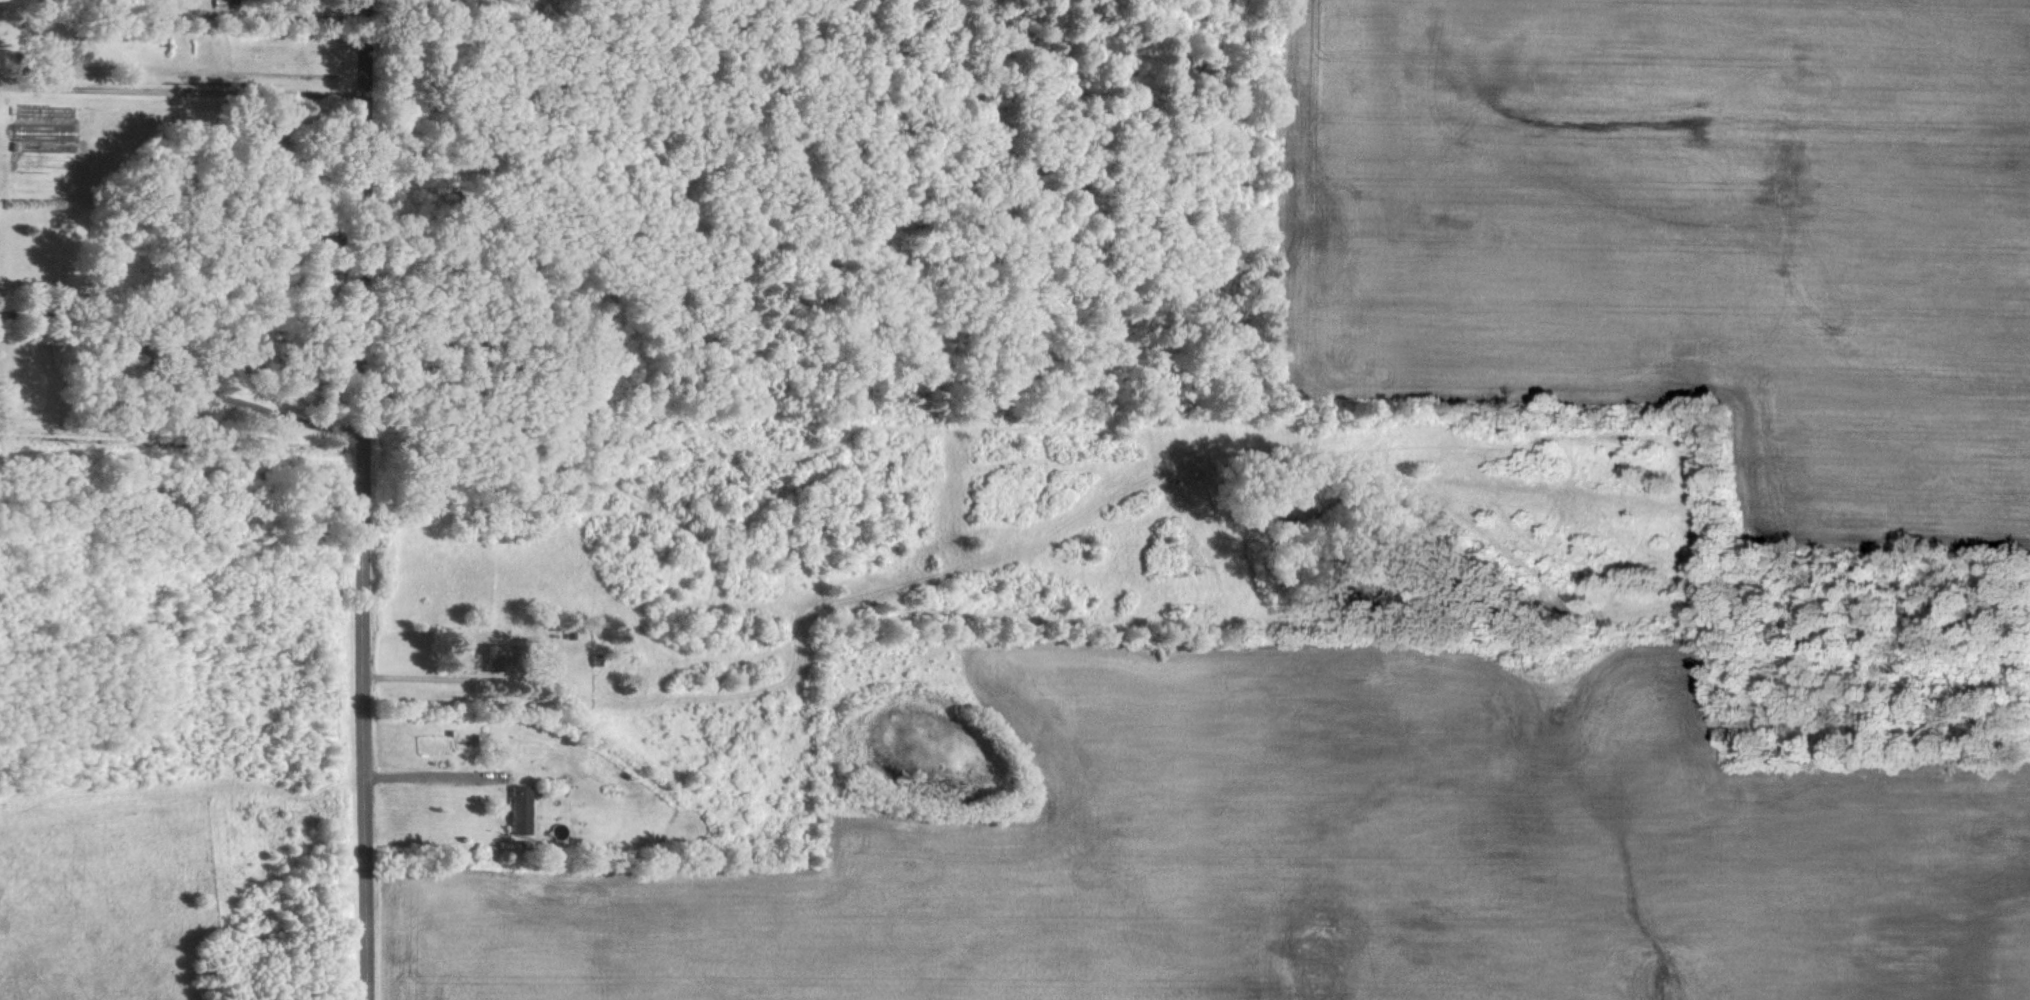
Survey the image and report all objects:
road: (187, 87)
road: (181, 373)
road: (373, 500)
building: (495, 658)
road: (431, 774)
building: (520, 809)

